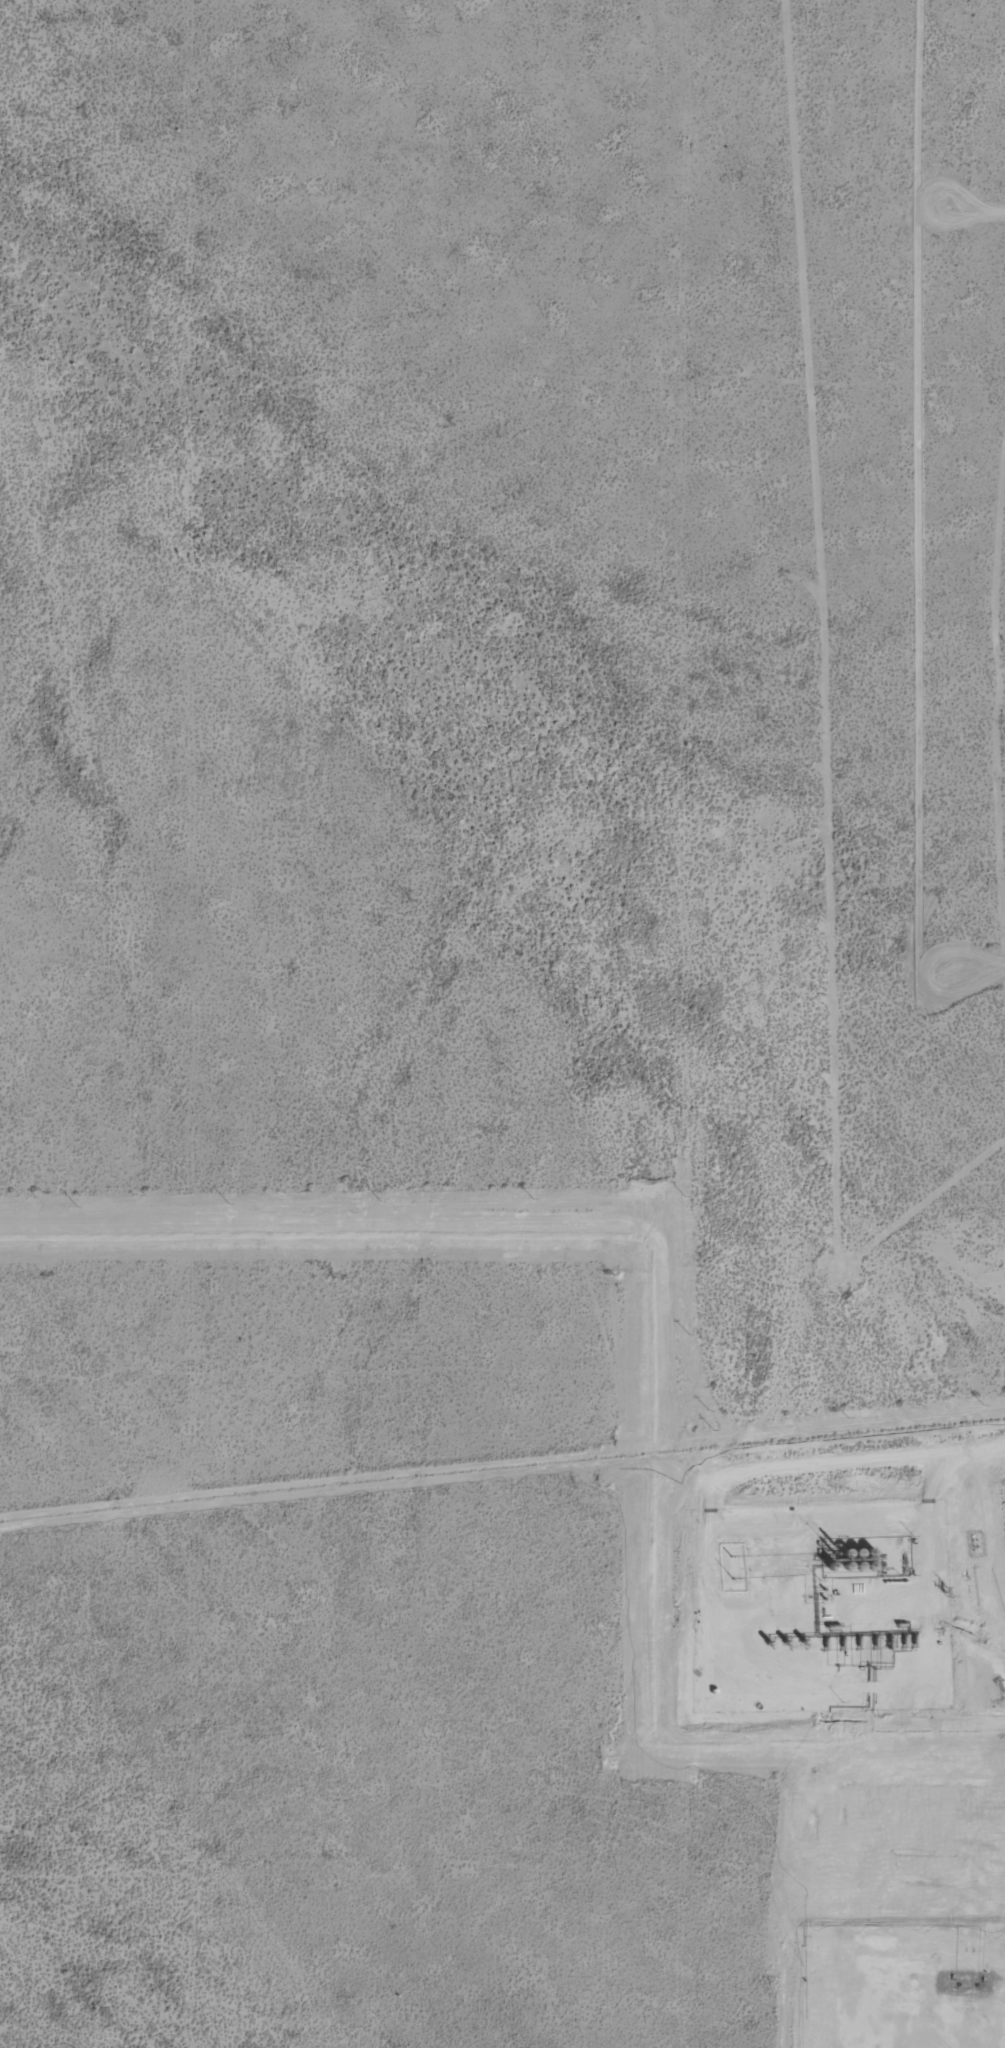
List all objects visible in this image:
road: (502, 1467)

